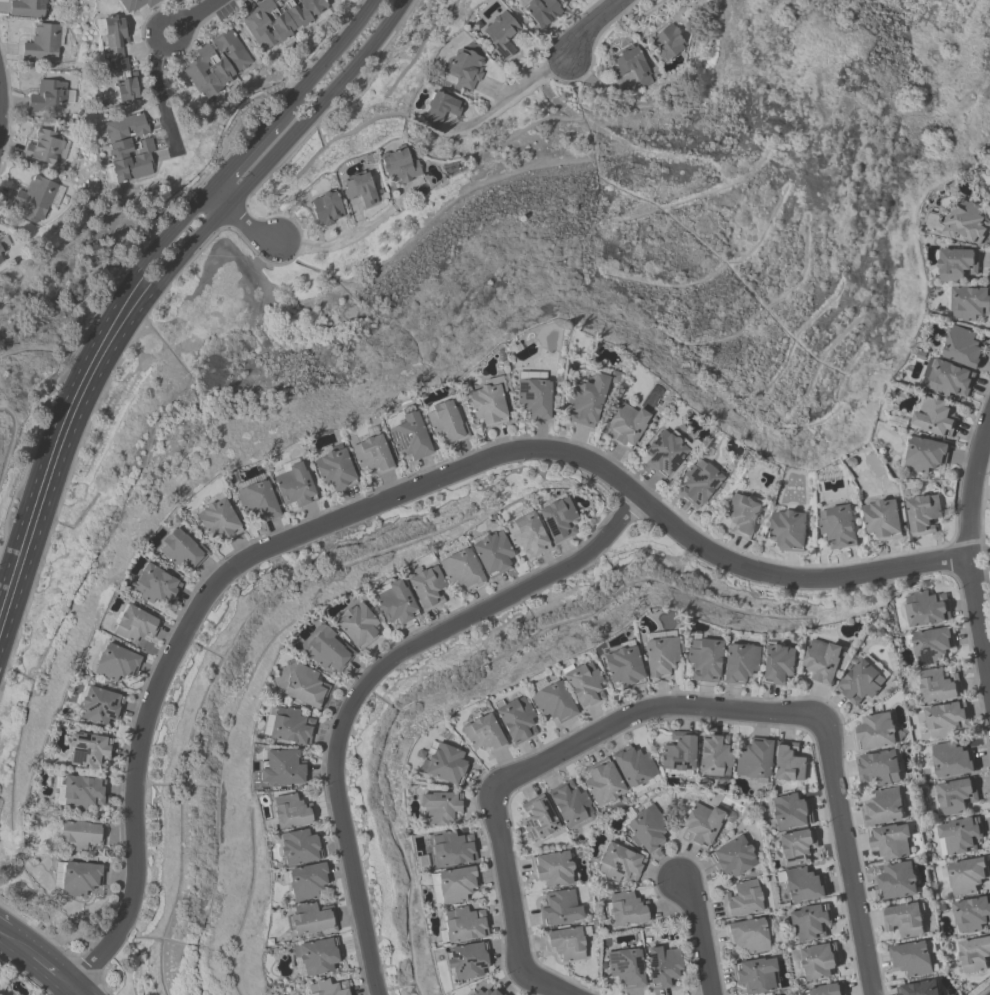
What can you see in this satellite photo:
building: (134, 5)
building: (29, 8)
road: (199, 11)
building: (542, 12)
building: (280, 20)
road: (589, 26)
building: (502, 34)
road: (156, 42)
building: (669, 42)
building: (45, 43)
building: (117, 45)
road: (331, 57)
building: (217, 65)
road: (524, 66)
building: (633, 67)
building: (467, 68)
road: (496, 89)
building: (128, 90)
building: (49, 96)
road: (508, 96)
road: (163, 97)
road: (4, 108)
building: (442, 108)
building: (129, 147)
building: (48, 148)
road: (246, 151)
building: (399, 166)
road: (255, 176)
road: (415, 185)
building: (360, 190)
building: (39, 196)
building: (327, 209)
road: (358, 215)
road: (241, 221)
building: (967, 224)
road: (341, 229)
road: (355, 234)
building: (2, 256)
road: (143, 263)
building: (958, 264)
building: (969, 303)
building: (955, 364)
building: (535, 398)
building: (587, 402)
building: (487, 404)
building: (934, 417)
building: (445, 420)
building: (629, 424)
building: (408, 435)
building: (666, 453)
building: (372, 455)
building: (924, 455)
building: (335, 469)
building: (700, 483)
road: (46, 484)
building: (294, 485)
building: (258, 500)
building: (924, 514)
building: (743, 515)
building: (557, 518)
building: (884, 519)
building: (218, 520)
building: (838, 526)
building: (790, 530)
building: (527, 534)
road: (971, 543)
building: (182, 549)
building: (492, 553)
building: (461, 569)
road: (226, 575)
road: (796, 576)
building: (156, 585)
building: (427, 588)
building: (395, 602)
building: (926, 609)
building: (135, 624)
building: (357, 625)
building: (932, 646)
building: (328, 649)
building: (661, 655)
building: (704, 659)
building: (825, 661)
building: (116, 663)
building: (739, 663)
building: (779, 663)
building: (623, 665)
road: (374, 679)
building: (864, 680)
building: (584, 683)
building: (940, 686)
building: (305, 687)
building: (552, 700)
building: (100, 705)
road: (654, 707)
building: (516, 719)
building: (948, 721)
building: (288, 725)
building: (877, 732)
building: (484, 734)
building: (88, 750)
building: (679, 754)
building: (715, 757)
building: (949, 760)
building: (754, 761)
building: (444, 763)
building: (789, 763)
building: (284, 767)
building: (880, 768)
building: (621, 776)
building: (80, 792)
building: (954, 797)
building: (571, 804)
building: (885, 807)
building: (439, 808)
building: (292, 811)
building: (791, 813)
building: (539, 819)
building: (702, 824)
building: (646, 828)
building: (79, 835)
building: (959, 836)
building: (893, 842)
building: (300, 847)
building: (798, 847)
building: (452, 849)
building: (733, 857)
road: (849, 860)
building: (619, 863)
building: (554, 869)
building: (968, 876)
building: (77, 878)
road: (510, 881)
building: (308, 882)
building: (899, 882)
building: (454, 885)
building: (804, 885)
building: (743, 899)
building: (561, 909)
building: (626, 909)
building: (972, 915)
building: (906, 920)
building: (312, 921)
building: (810, 922)
building: (464, 924)
road: (2, 933)
road: (700, 933)
building: (750, 936)
building: (564, 941)
road: (18, 946)
building: (974, 955)
building: (316, 957)
building: (915, 959)
building: (467, 961)
building: (818, 963)
building: (664, 966)
building: (627, 968)
road: (52, 973)
building: (757, 975)
road: (553, 984)
building: (328, 988)
building: (921, 988)
building: (827, 990)
building: (486, 991)
road: (73, 992)

